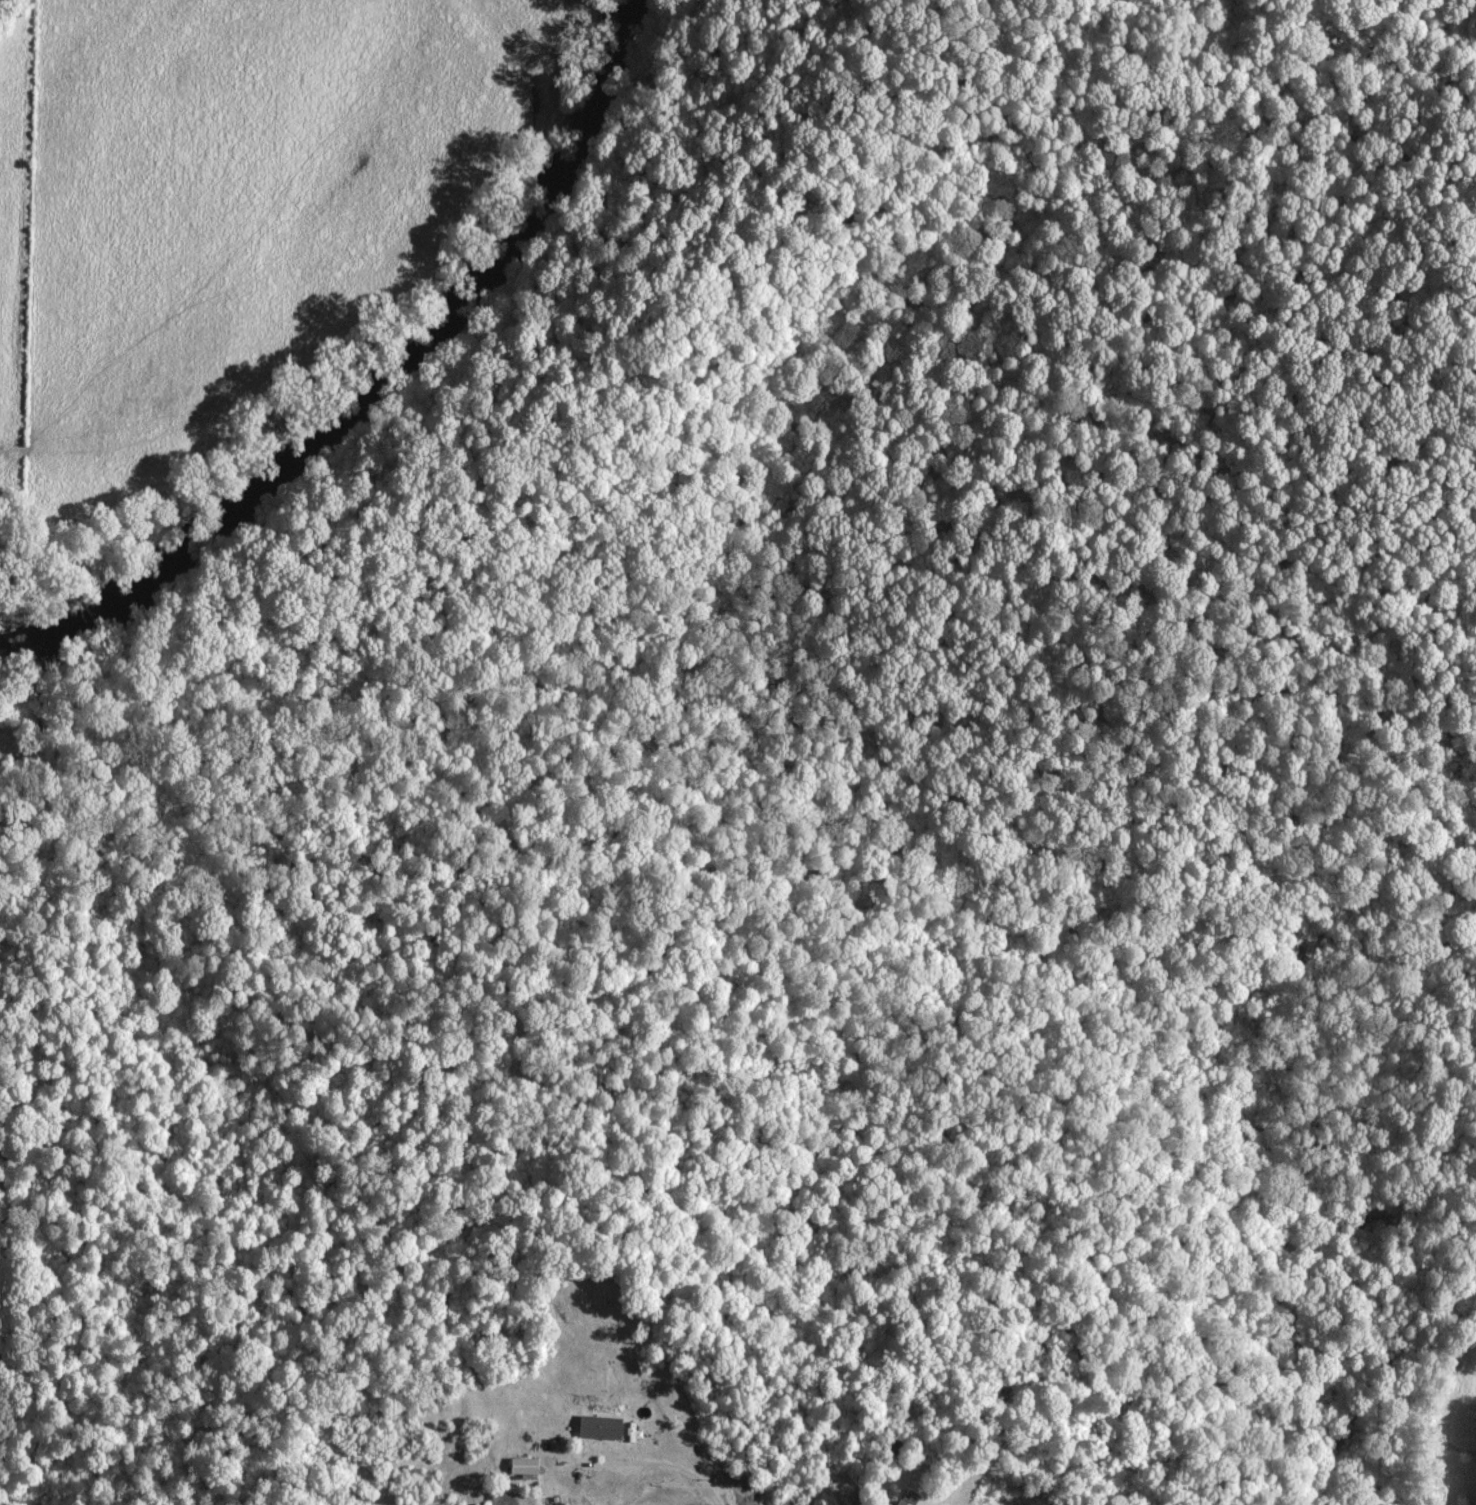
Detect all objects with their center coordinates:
building: (597, 1428)
building: (521, 1466)

